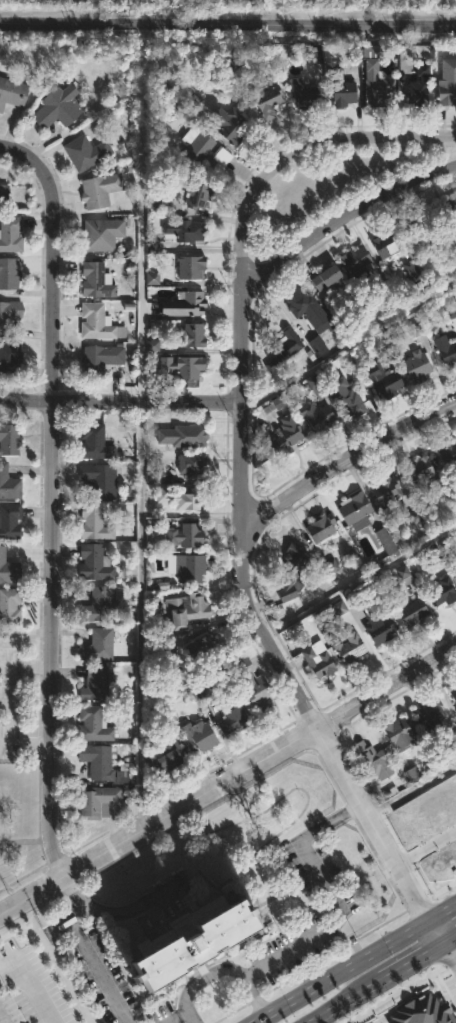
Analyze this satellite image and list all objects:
road: (227, 25)
building: (373, 76)
building: (446, 82)
building: (418, 84)
building: (11, 92)
building: (345, 92)
building: (304, 93)
building: (270, 101)
building: (58, 107)
building: (231, 125)
road: (368, 141)
building: (201, 148)
building: (87, 152)
building: (101, 190)
building: (198, 194)
building: (4, 196)
building: (446, 215)
road: (340, 221)
building: (184, 231)
building: (415, 232)
building: (10, 233)
building: (102, 233)
building: (386, 244)
building: (357, 263)
building: (191, 267)
building: (412, 271)
building: (9, 273)
building: (328, 277)
building: (96, 280)
building: (181, 304)
building: (309, 310)
building: (9, 315)
building: (99, 323)
building: (192, 335)
road: (347, 345)
building: (319, 347)
building: (285, 349)
building: (449, 354)
building: (9, 358)
building: (100, 359)
building: (418, 366)
building: (179, 368)
building: (383, 380)
building: (348, 395)
road: (120, 401)
building: (317, 417)
building: (282, 432)
building: (183, 436)
building: (9, 439)
building: (95, 443)
building: (449, 454)
building: (191, 464)
road: (346, 464)
road: (139, 467)
building: (418, 472)
building: (100, 480)
building: (8, 483)
building: (387, 491)
road: (53, 498)
building: (182, 498)
building: (356, 511)
building: (10, 521)
building: (95, 523)
building: (320, 526)
building: (187, 536)
road: (242, 558)
building: (95, 563)
building: (186, 567)
building: (8, 569)
building: (293, 572)
building: (444, 591)
building: (100, 604)
building: (9, 606)
building: (188, 609)
building: (414, 612)
building: (380, 629)
building: (98, 646)
building: (350, 647)
building: (206, 651)
building: (166, 653)
building: (318, 660)
building: (94, 684)
building: (255, 688)
building: (453, 695)
building: (429, 713)
building: (233, 717)
building: (94, 724)
building: (398, 734)
building: (198, 736)
building: (162, 755)
building: (374, 761)
building: (103, 763)
road: (229, 783)
road: (412, 792)
building: (99, 803)
road: (332, 895)
road: (128, 910)
road: (441, 915)
road: (435, 936)
building: (190, 942)
road: (442, 948)
road: (89, 950)
road: (450, 956)
road: (406, 970)
road: (227, 971)
road: (342, 973)
road: (34, 989)
road: (351, 1003)
road: (184, 1014)
road: (0, 1022)

